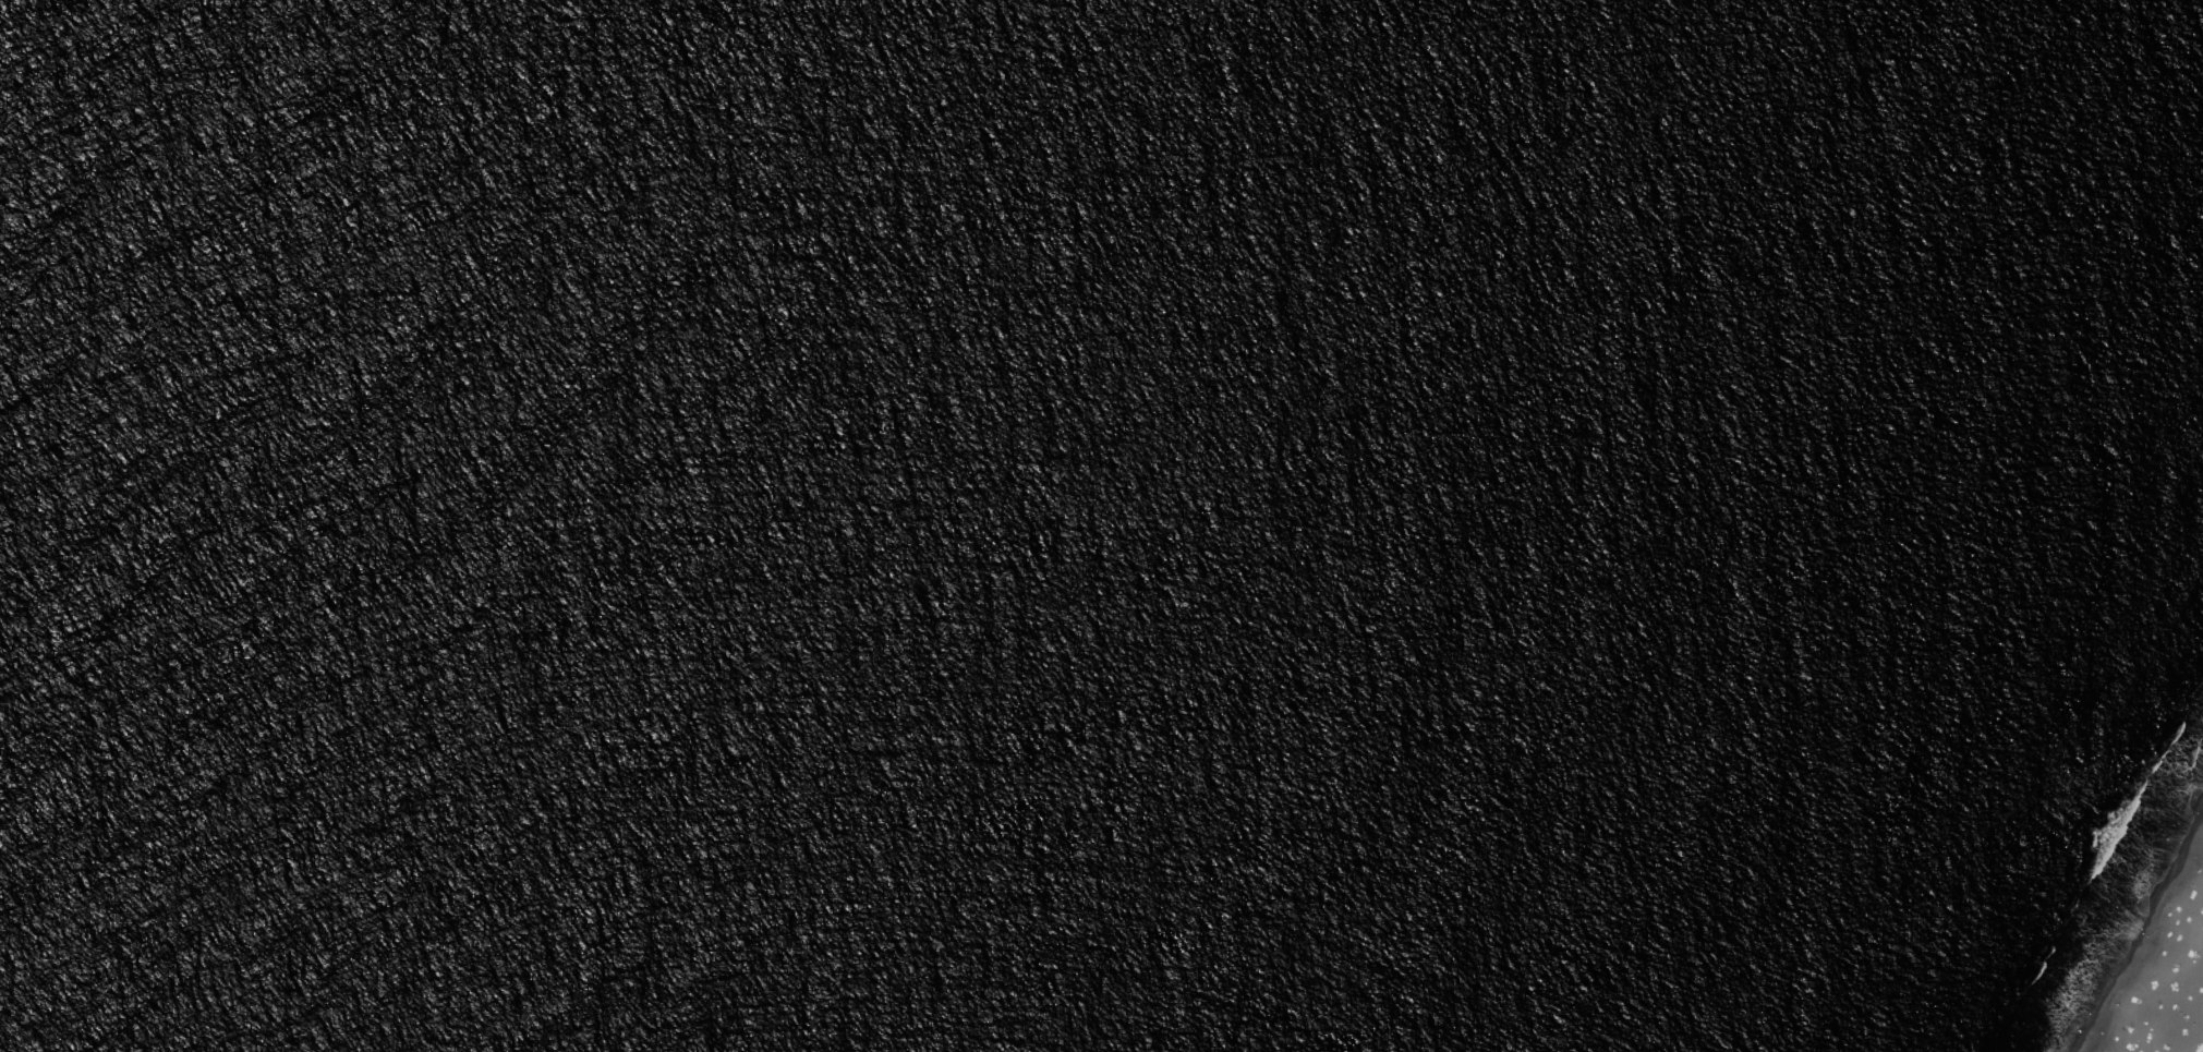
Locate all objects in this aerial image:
park: (2155, 981)

